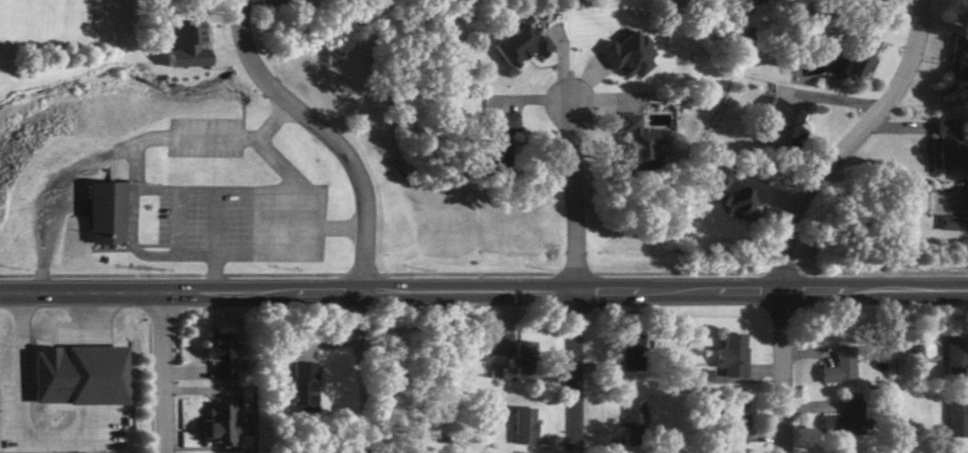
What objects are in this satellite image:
building: (874, 0)
building: (524, 43)
building: (863, 57)
building: (960, 59)
road: (831, 98)
building: (787, 124)
road: (319, 134)
building: (501, 135)
building: (644, 139)
road: (856, 143)
road: (118, 144)
building: (950, 145)
building: (742, 196)
road: (295, 207)
building: (106, 211)
building: (951, 222)
road: (175, 251)
road: (217, 270)
road: (573, 278)
road: (483, 286)
road: (93, 318)
building: (510, 348)
building: (734, 351)
building: (634, 352)
building: (223, 356)
building: (958, 356)
building: (841, 366)
road: (782, 368)
road: (164, 372)
building: (84, 374)
road: (93, 374)
building: (306, 385)
road: (19, 417)
road: (94, 419)
building: (848, 419)
building: (958, 419)
building: (737, 421)
building: (634, 422)
building: (223, 425)
building: (525, 427)
building: (835, 451)

